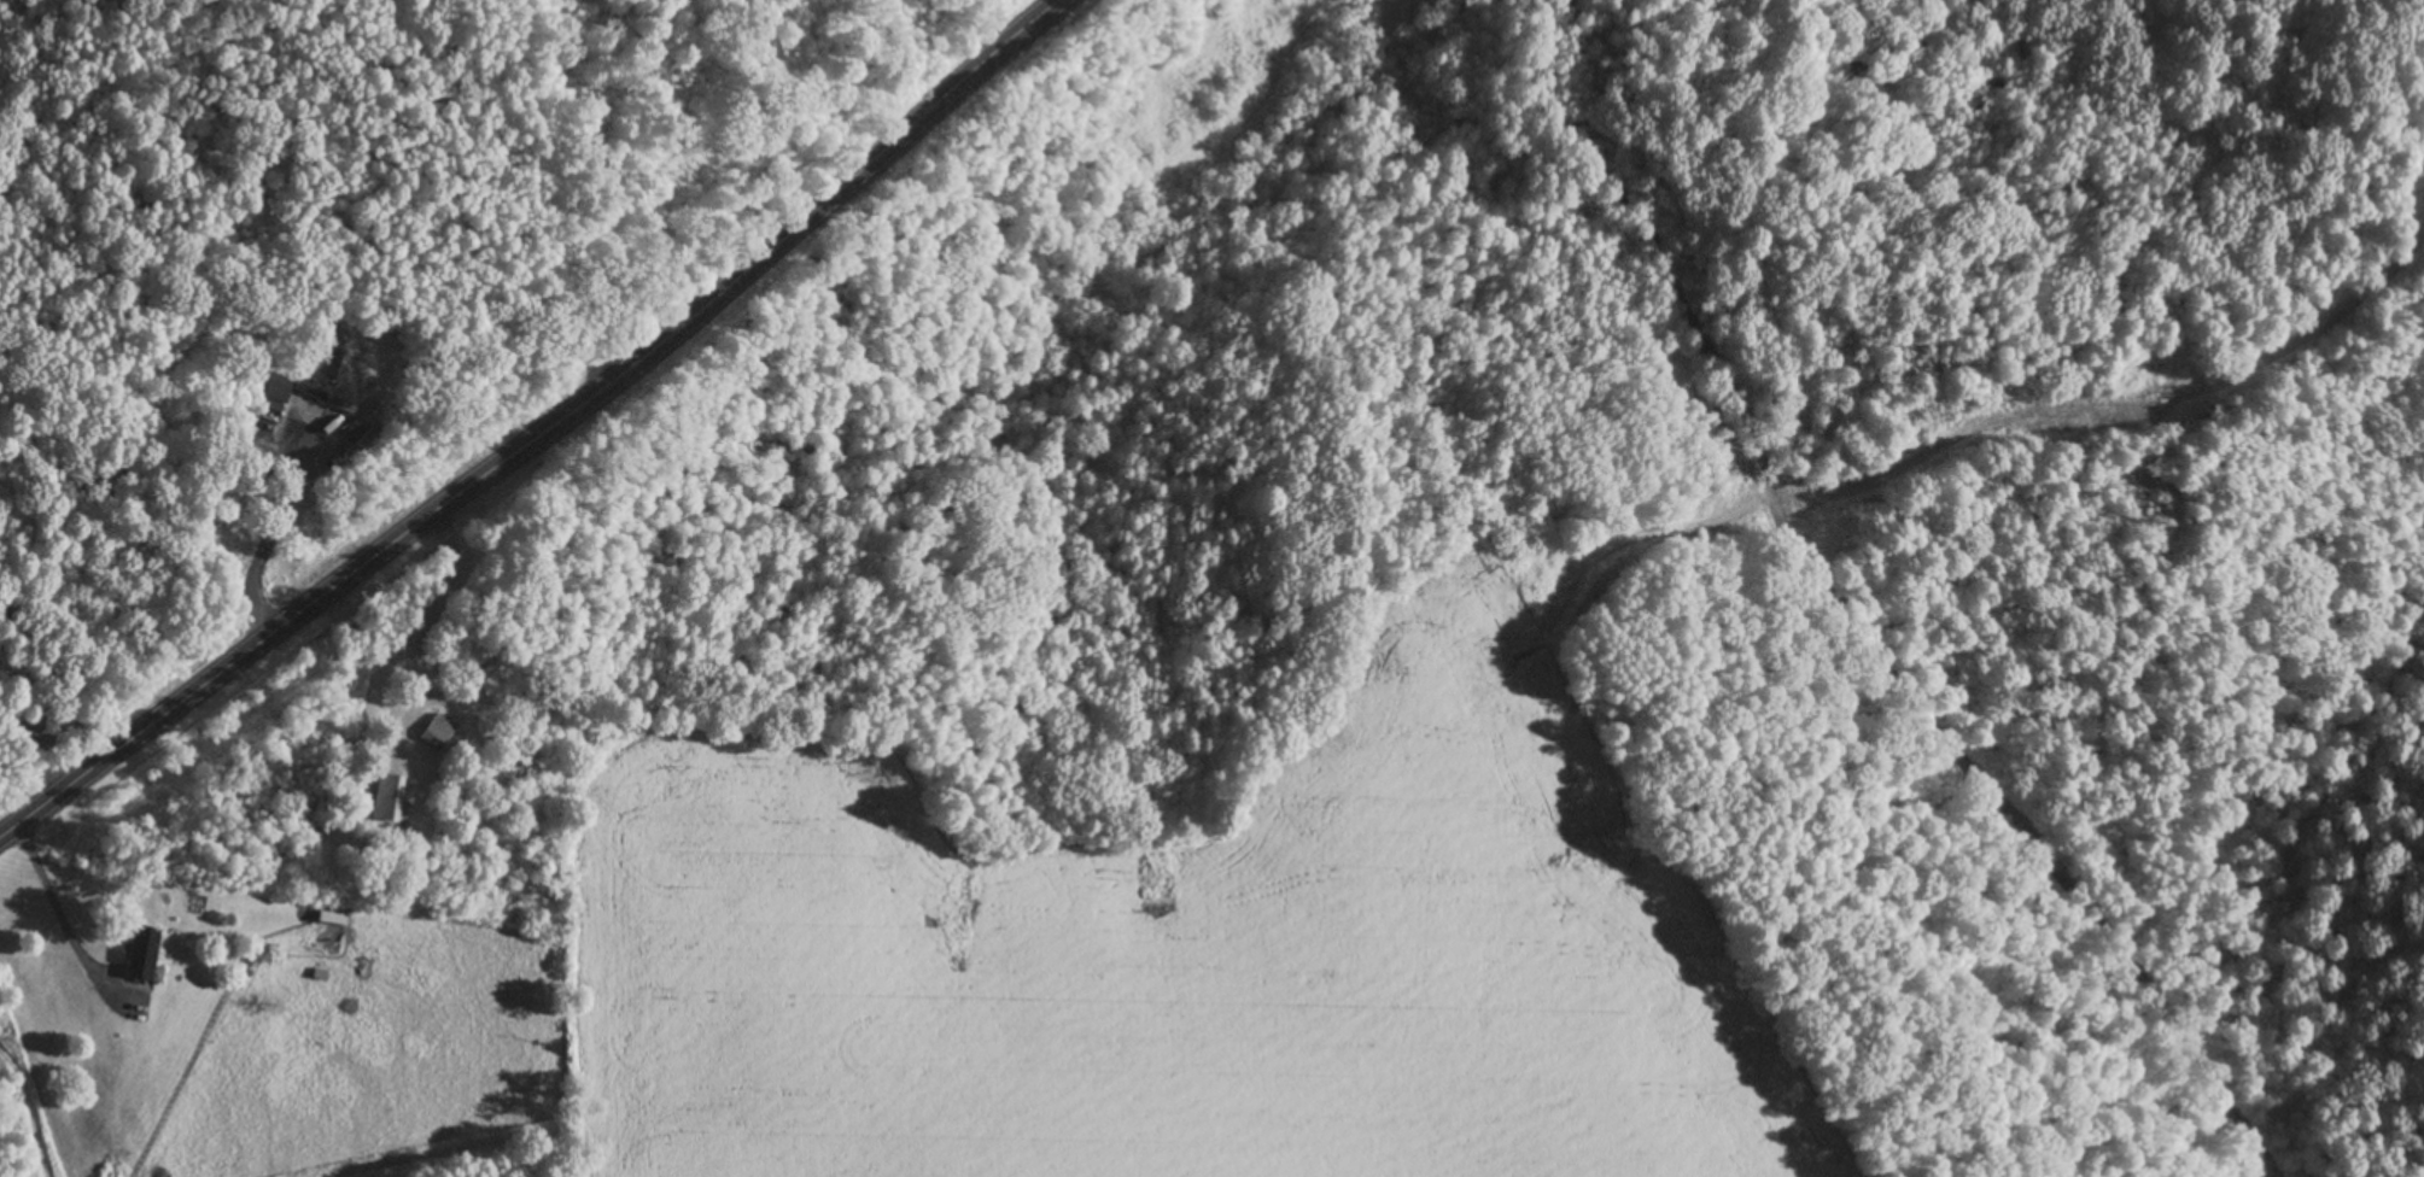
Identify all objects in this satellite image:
building: (329, 356)
building: (275, 393)
road: (536, 431)
road: (1847, 608)
building: (437, 733)
building: (387, 798)
building: (141, 954)

